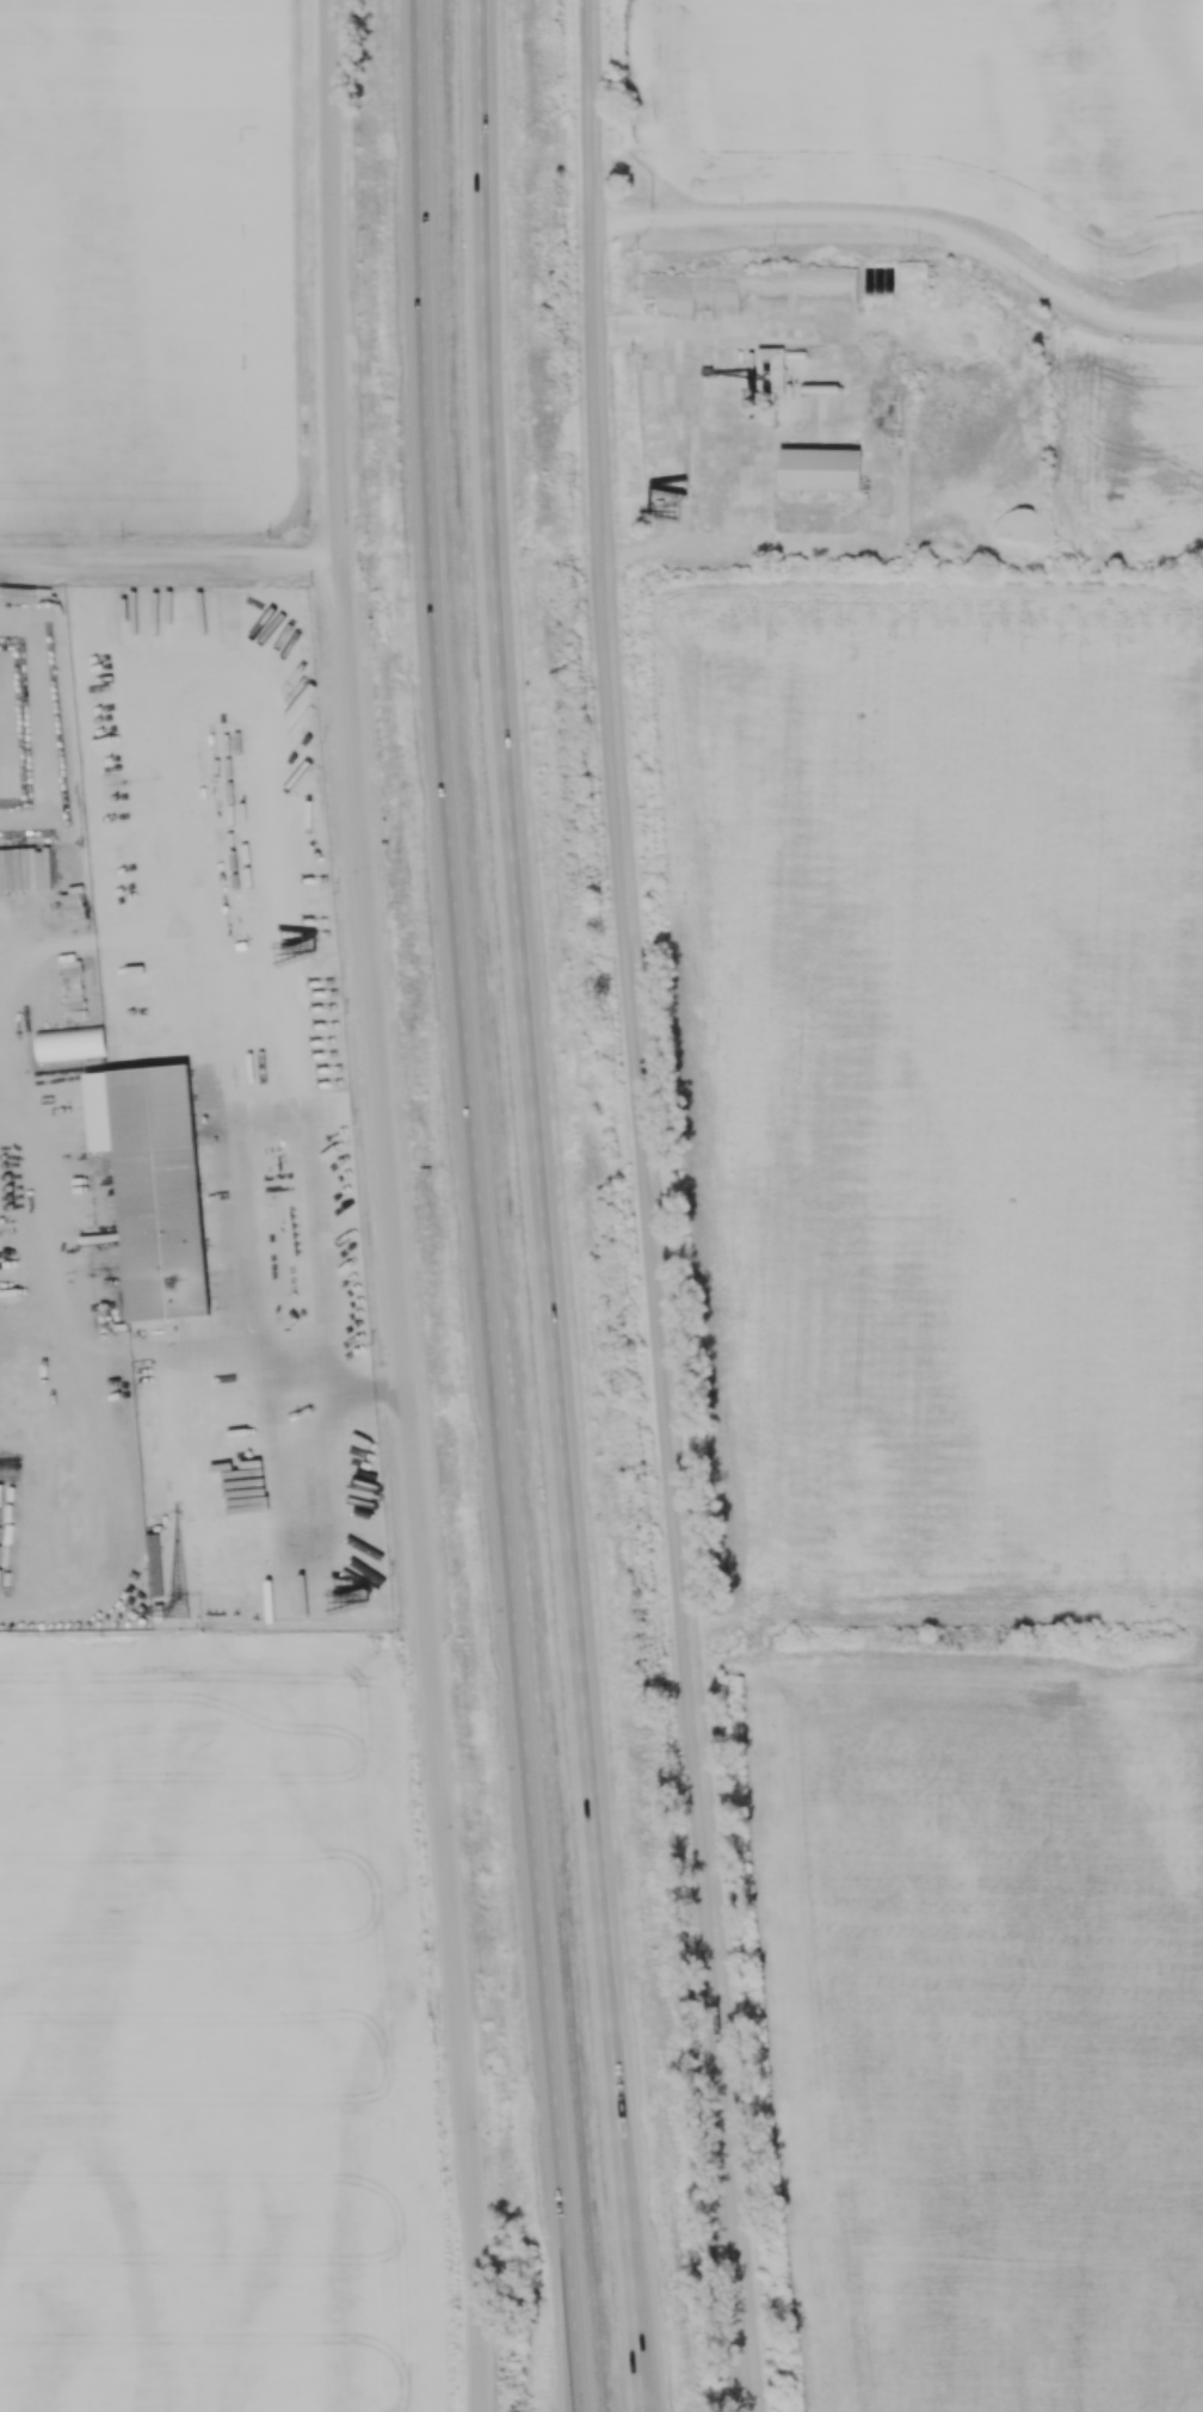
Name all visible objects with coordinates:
road: (912, 218)
road: (596, 263)
road: (422, 276)
road: (486, 276)
road: (332, 280)
building: (819, 470)
road: (673, 529)
road: (660, 545)
road: (462, 551)
road: (169, 562)
road: (13, 610)
road: (192, 643)
road: (29, 677)
road: (23, 1224)
road: (118, 1349)
road: (292, 1364)
road: (369, 1381)
road: (671, 1468)
road: (559, 1481)
road: (495, 1482)
road: (409, 1486)
road: (93, 1507)
road: (568, 2386)
road: (640, 2393)

